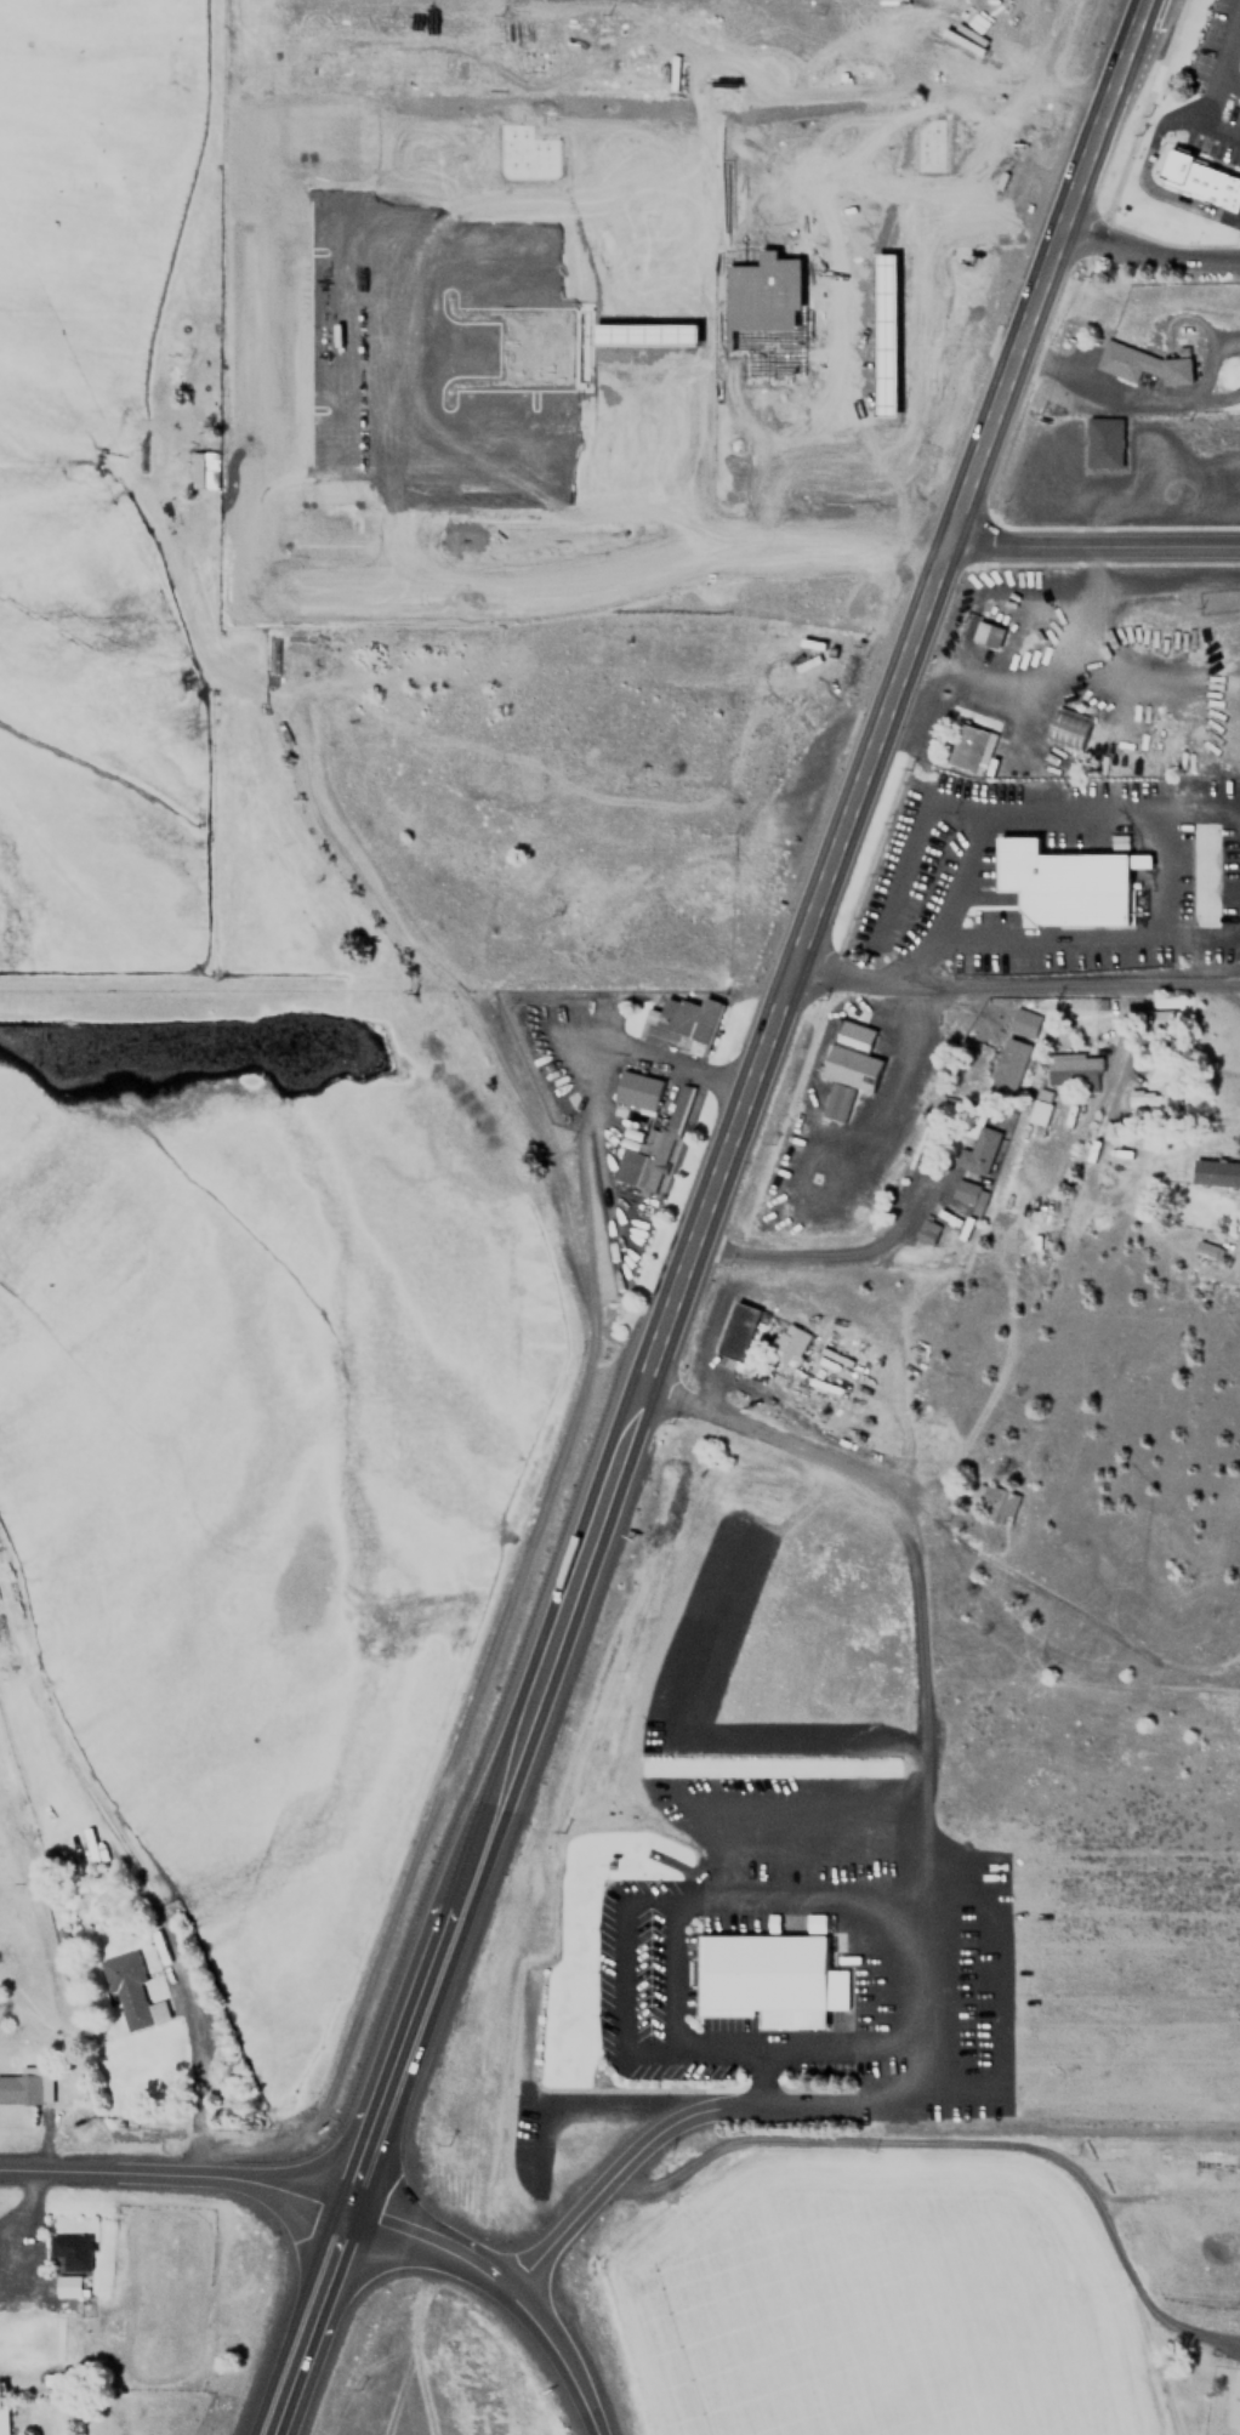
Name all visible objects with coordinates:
road: (1213, 86)
building: (1195, 177)
road: (1142, 180)
parking lot: (801, 192)
road: (529, 221)
road: (1153, 252)
parking lot: (476, 289)
road: (848, 301)
building: (764, 315)
parking lot: (823, 315)
building: (644, 334)
gas station: (644, 334)
building: (887, 336)
gas station: (887, 336)
road: (916, 362)
building: (1141, 364)
building: (1102, 442)
building: (203, 470)
road: (518, 471)
parking lot: (847, 488)
road: (1097, 541)
road: (624, 578)
building: (985, 633)
building: (1065, 727)
building: (969, 747)
building: (1062, 883)
road: (1018, 985)
building: (1164, 1018)
building: (1023, 1022)
building: (678, 1024)
road: (770, 1047)
building: (847, 1065)
building: (1007, 1065)
building: (1073, 1069)
building: (636, 1091)
building: (1151, 1096)
building: (1041, 1105)
building: (676, 1106)
building: (979, 1149)
building: (632, 1167)
building: (1215, 1172)
building: (967, 1191)
building: (927, 1230)
building: (1205, 1248)
building: (738, 1331)
building: (787, 1342)
building: (995, 1501)
road: (926, 1656)
building: (817, 1923)
building: (766, 1978)
building: (130, 1992)
road: (178, 2018)
building: (25, 2084)
road: (684, 2120)
road: (366, 2146)
road: (174, 2177)
building: (69, 2249)
road: (507, 2276)
building: (67, 2286)
road: (303, 2316)
building: (1234, 2405)
building: (2, 2419)

